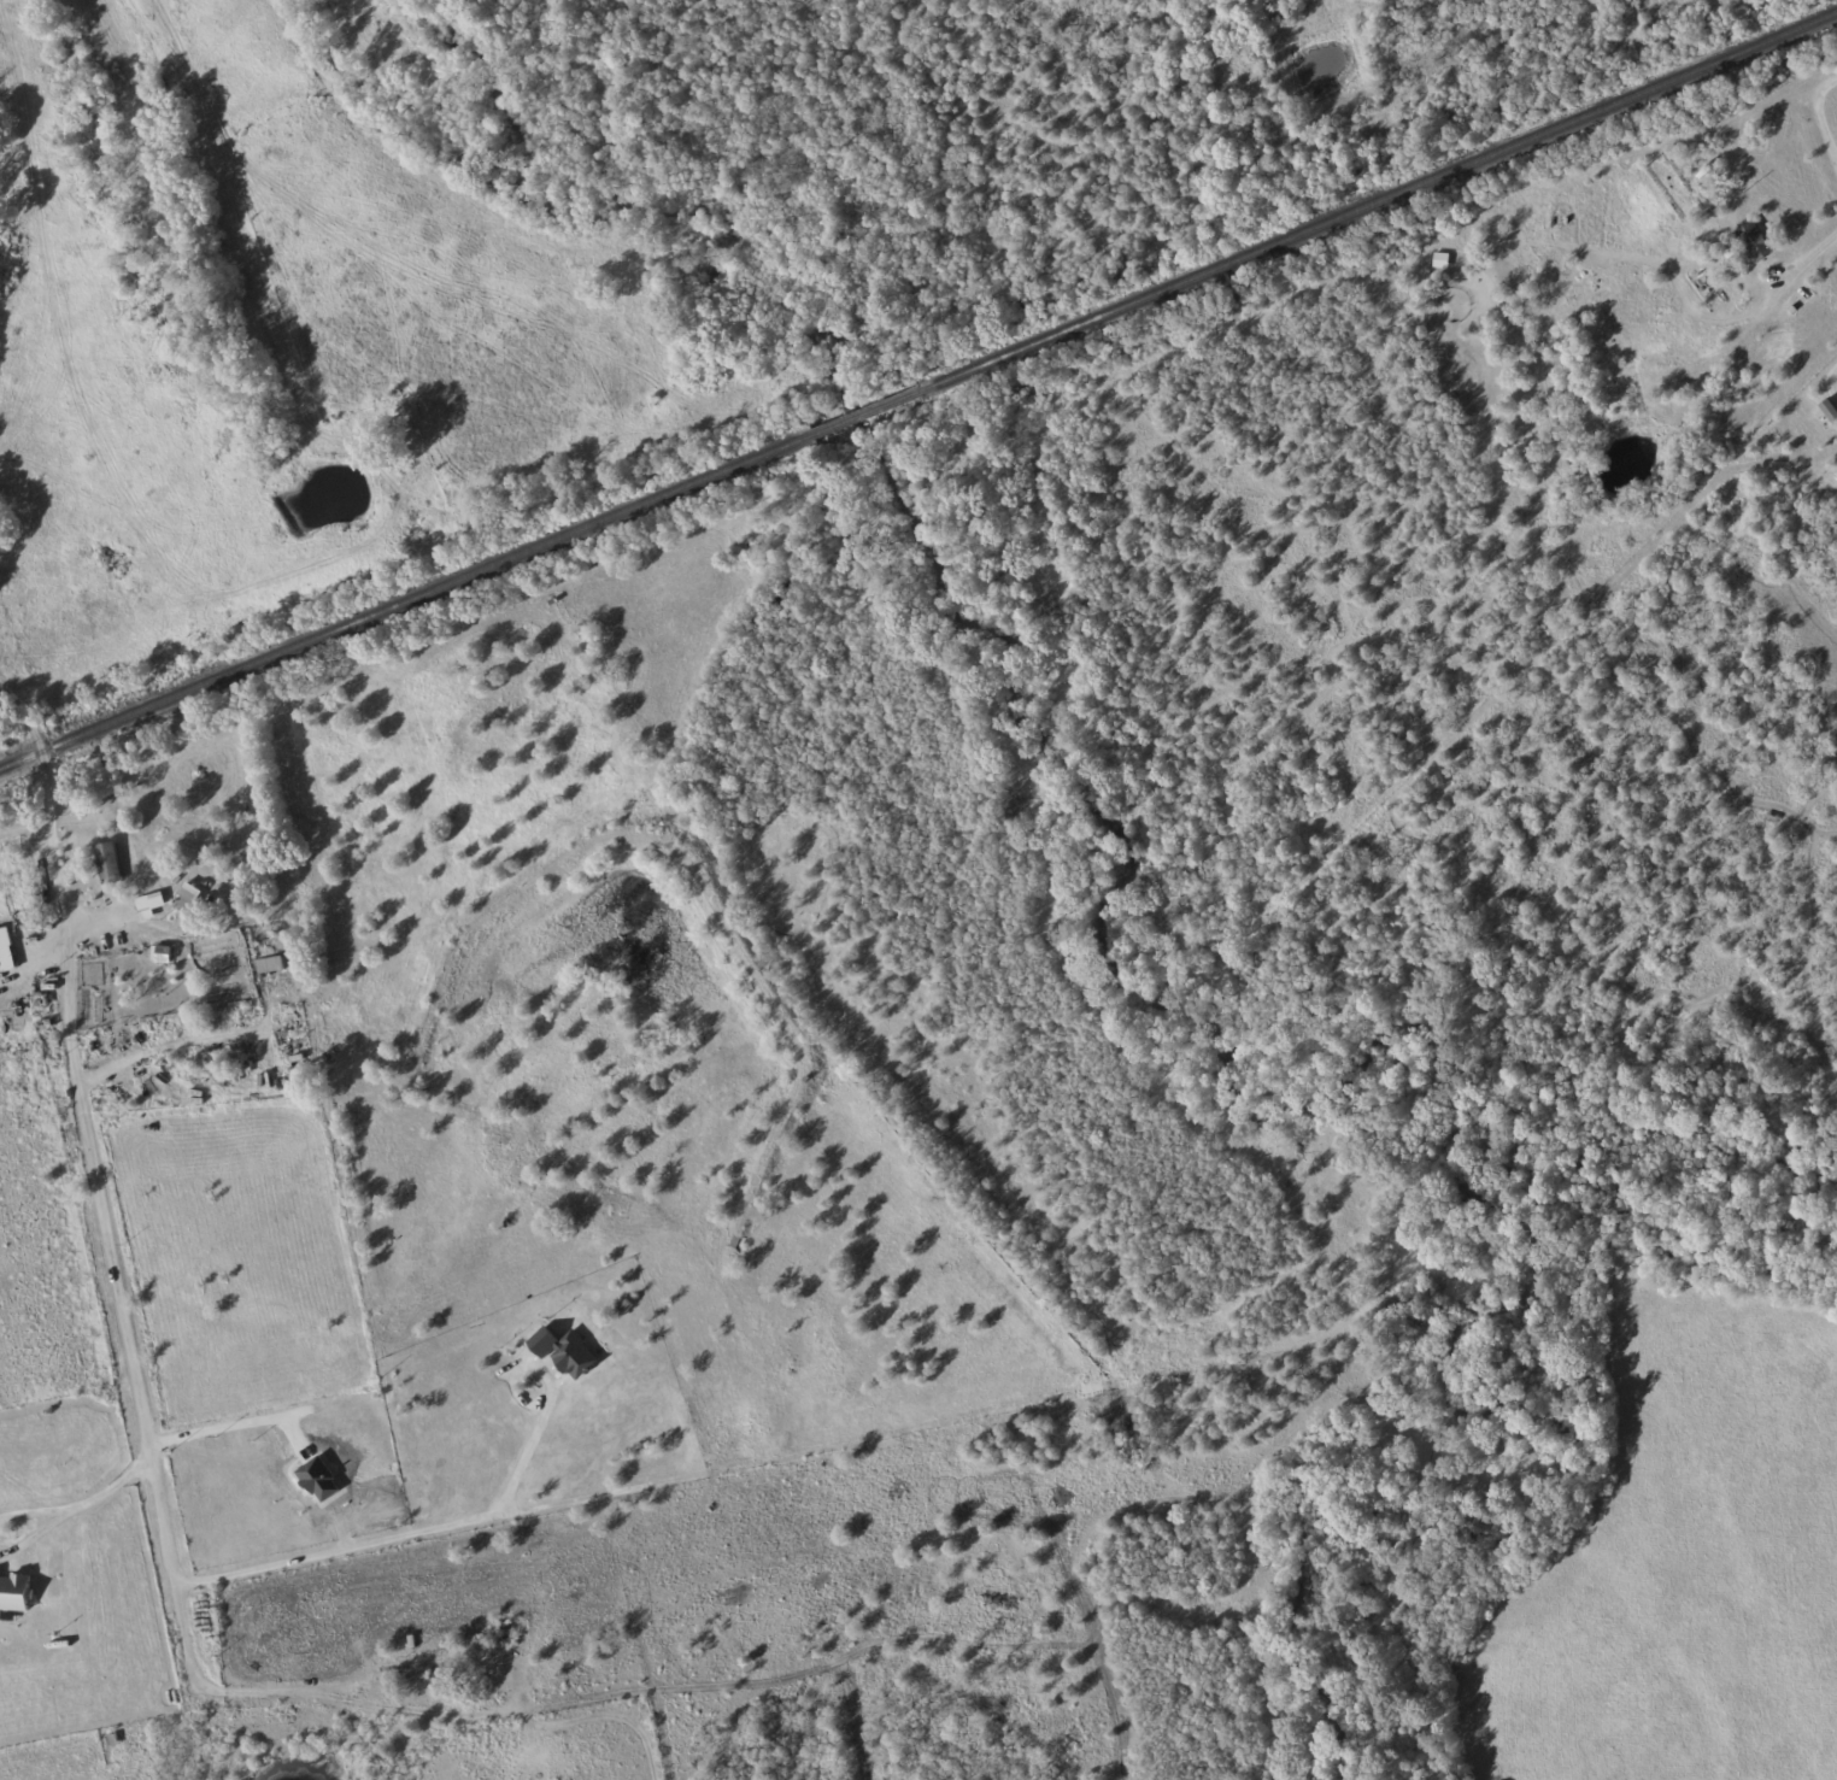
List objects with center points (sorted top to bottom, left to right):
road: (1818, 118)
railway: (1375, 202)
building: (1754, 241)
road: (1806, 257)
road: (1827, 383)
building: (1829, 411)
railway: (862, 412)
building: (1836, 476)
railway: (404, 603)
road: (48, 862)
building: (107, 863)
building: (187, 898)
building: (149, 905)
building: (6, 953)
building: (269, 964)
road: (188, 1021)
road: (151, 1052)
road: (110, 1296)
building: (563, 1351)
road: (99, 1491)
road: (25, 1517)
road: (27, 1537)
road: (395, 1539)
building: (13, 1592)
road: (411, 1713)

